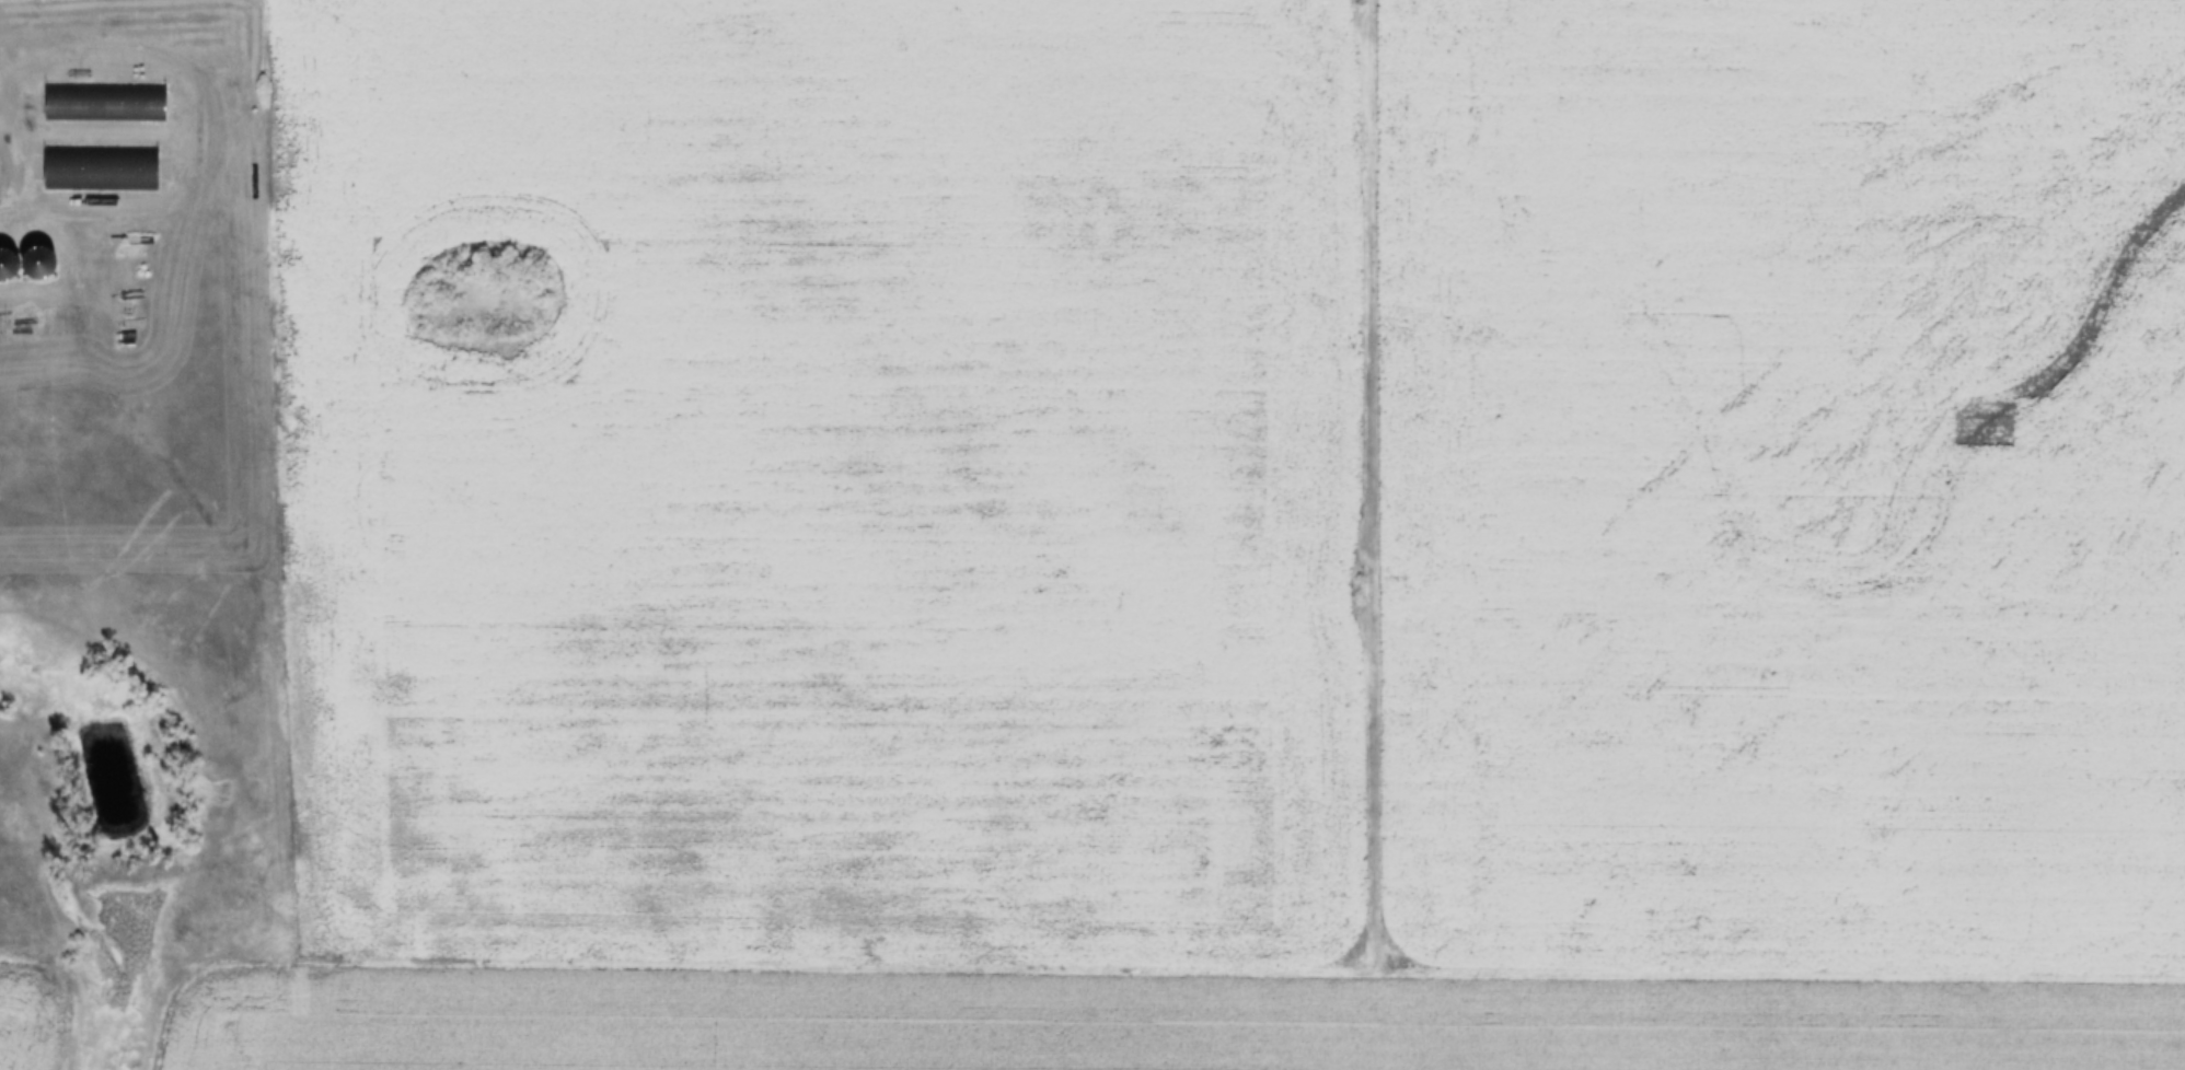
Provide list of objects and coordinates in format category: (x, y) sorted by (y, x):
building: (105, 103)
building: (102, 168)

